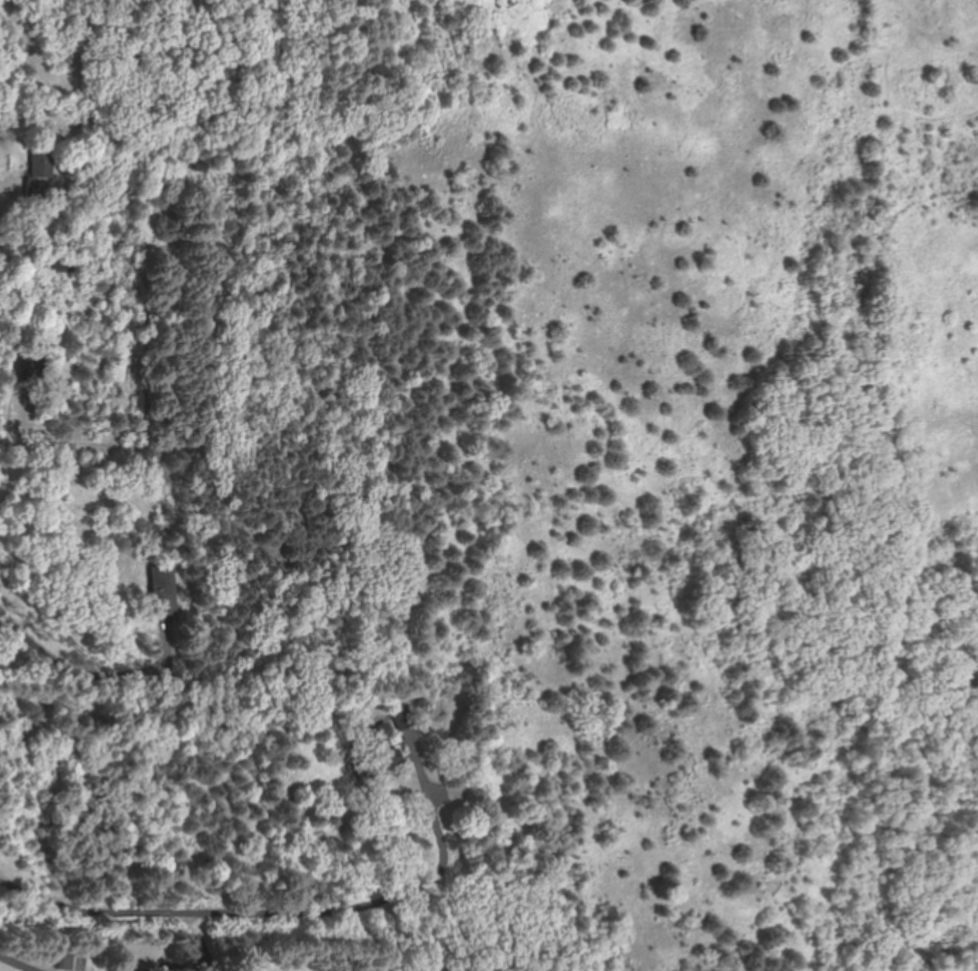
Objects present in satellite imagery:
road: (57, 84)
building: (40, 172)
building: (32, 368)
park: (658, 454)
building: (165, 589)
road: (90, 660)
building: (376, 740)
road: (284, 920)
building: (72, 958)
road: (19, 963)

